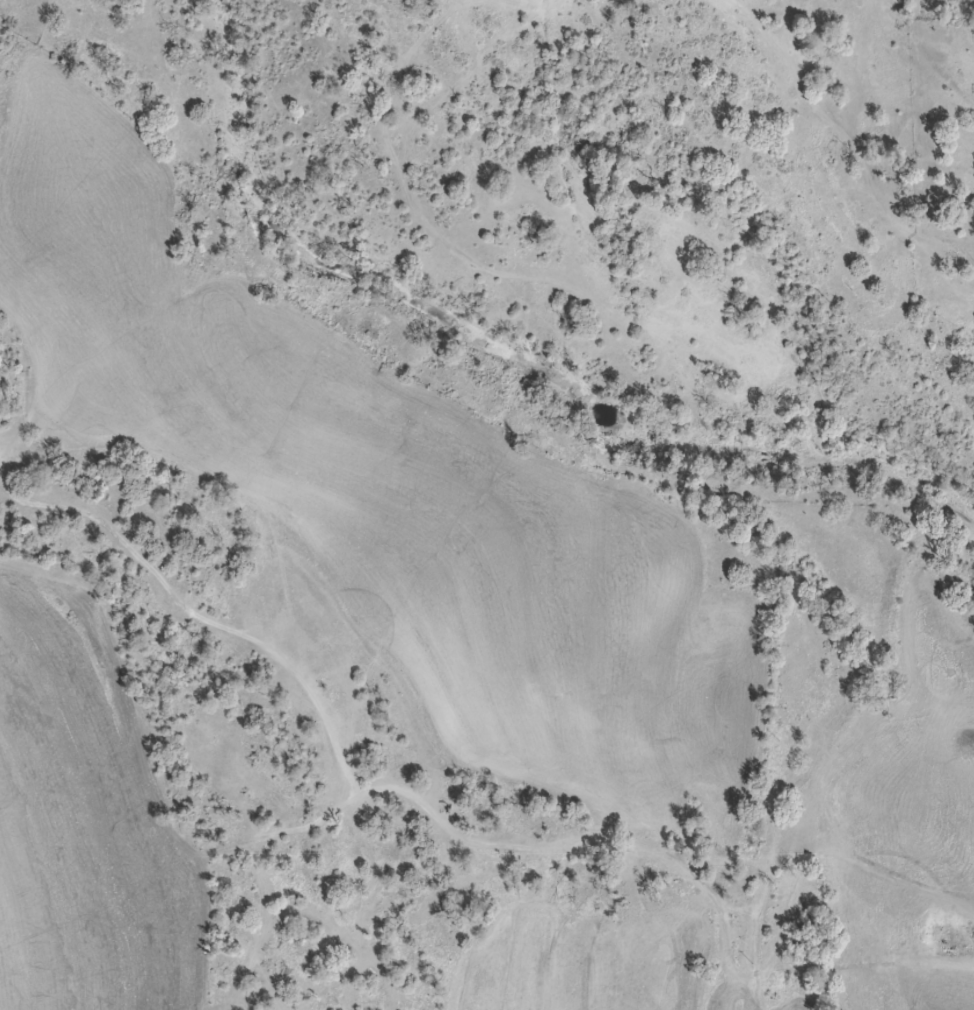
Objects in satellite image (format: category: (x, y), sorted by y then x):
railway: (879, 504)

